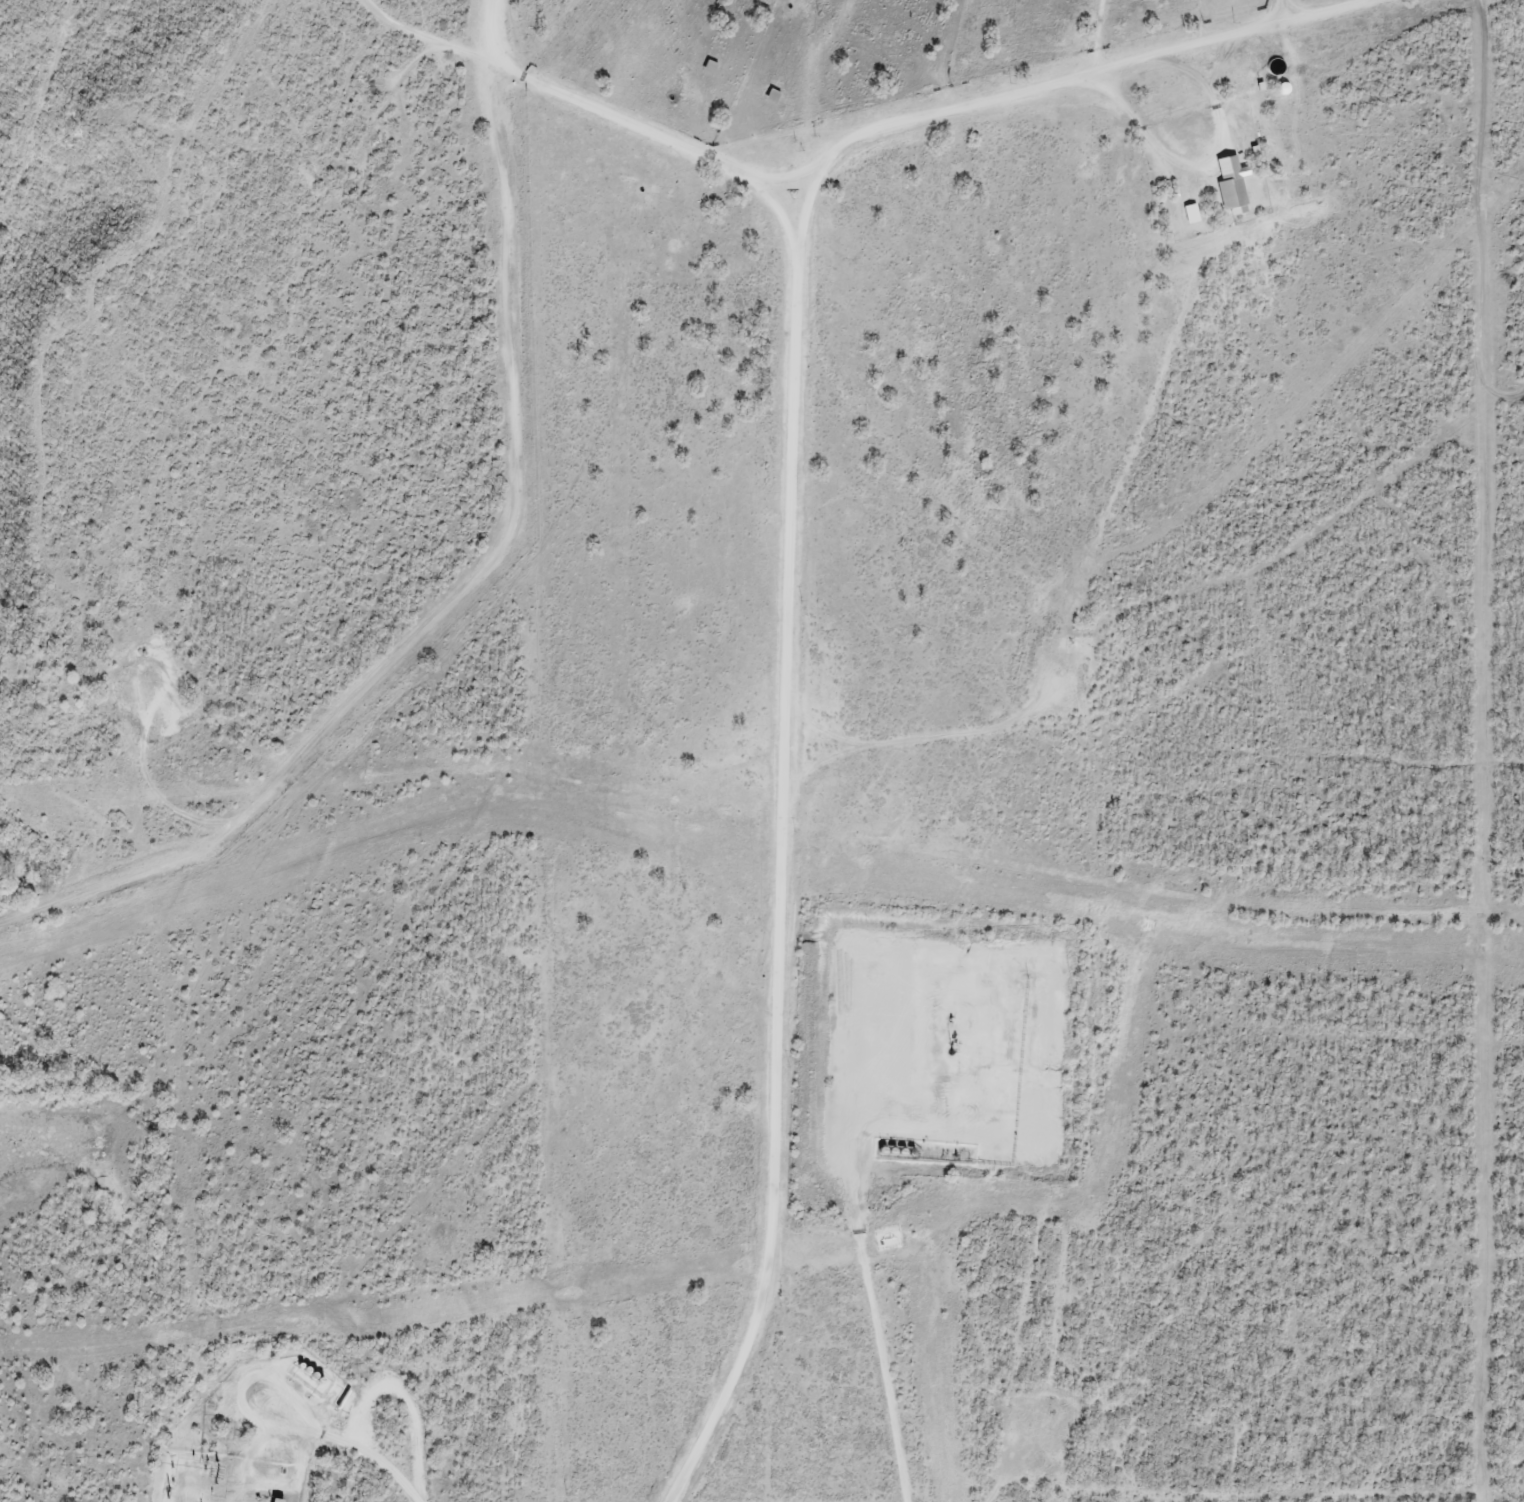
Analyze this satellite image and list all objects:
building: (709, 66)
building: (774, 94)
building: (1233, 183)
building: (1192, 211)
road: (788, 550)

